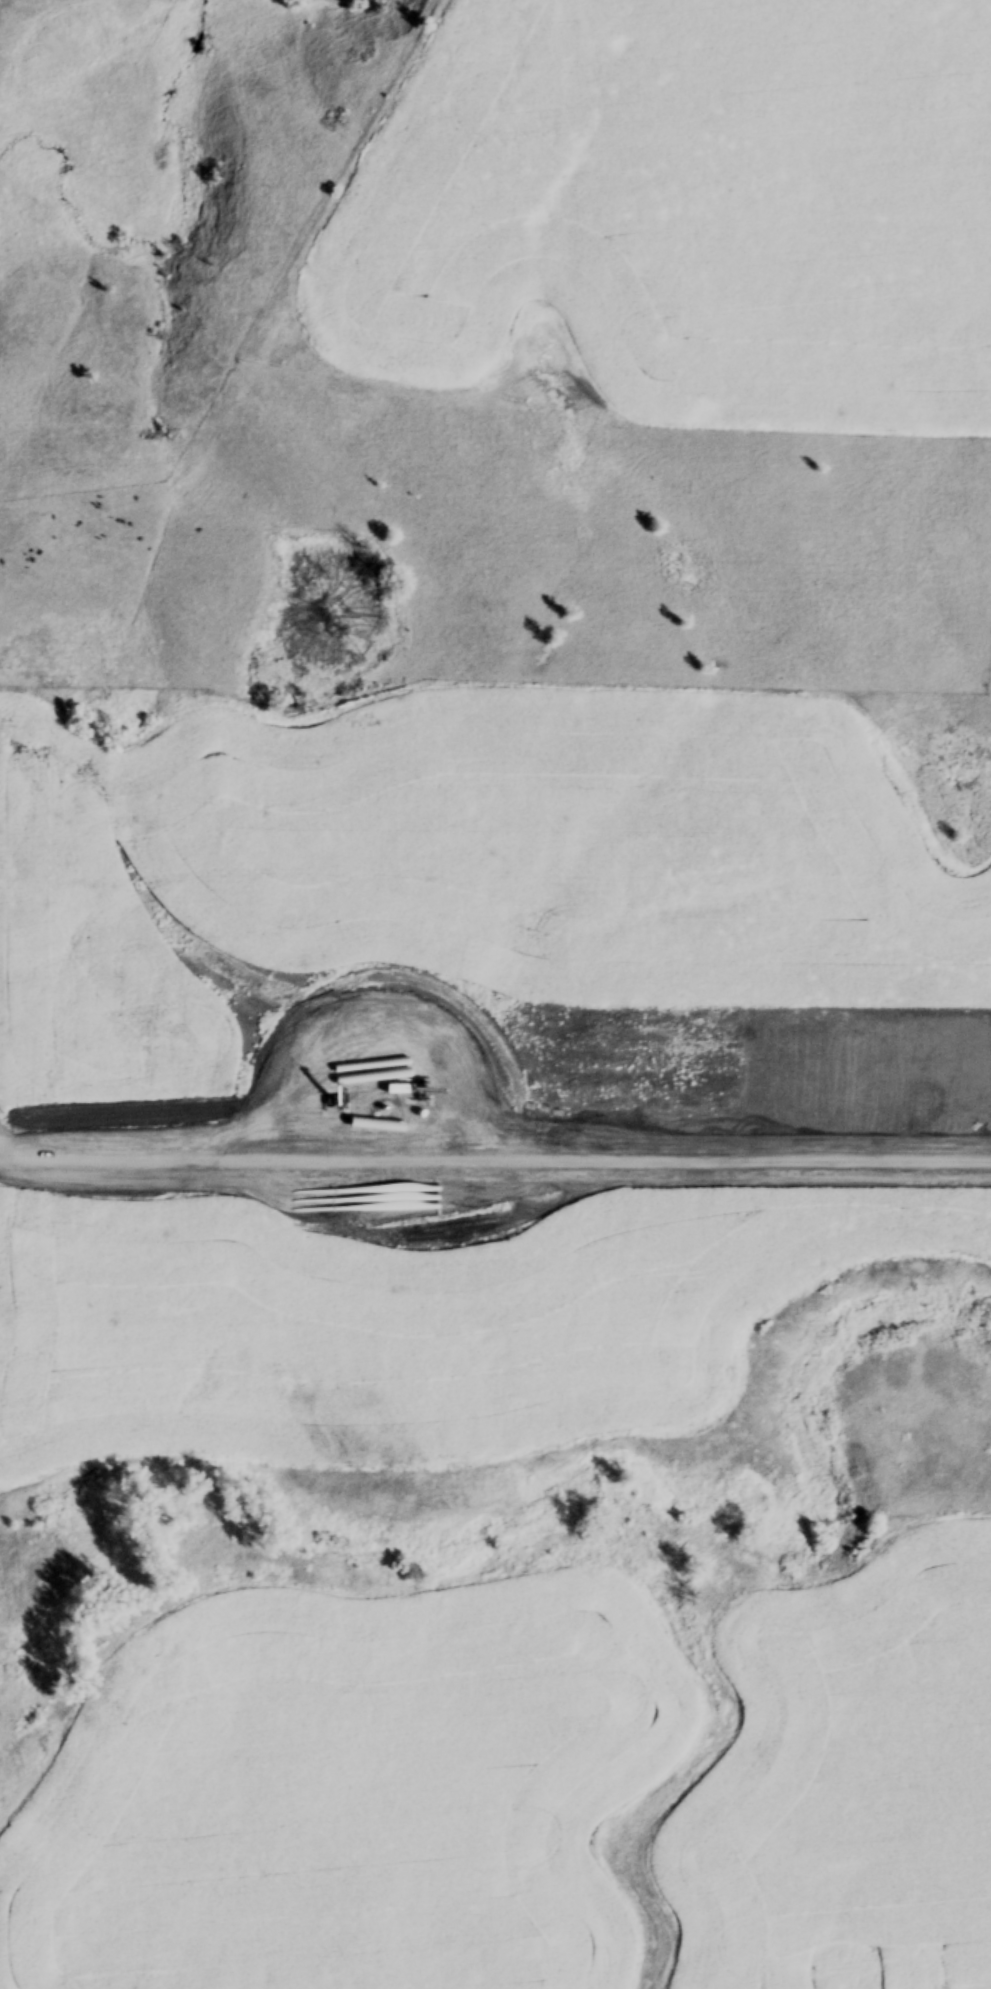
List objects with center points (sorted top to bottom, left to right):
wind turbine: (368, 1105)

